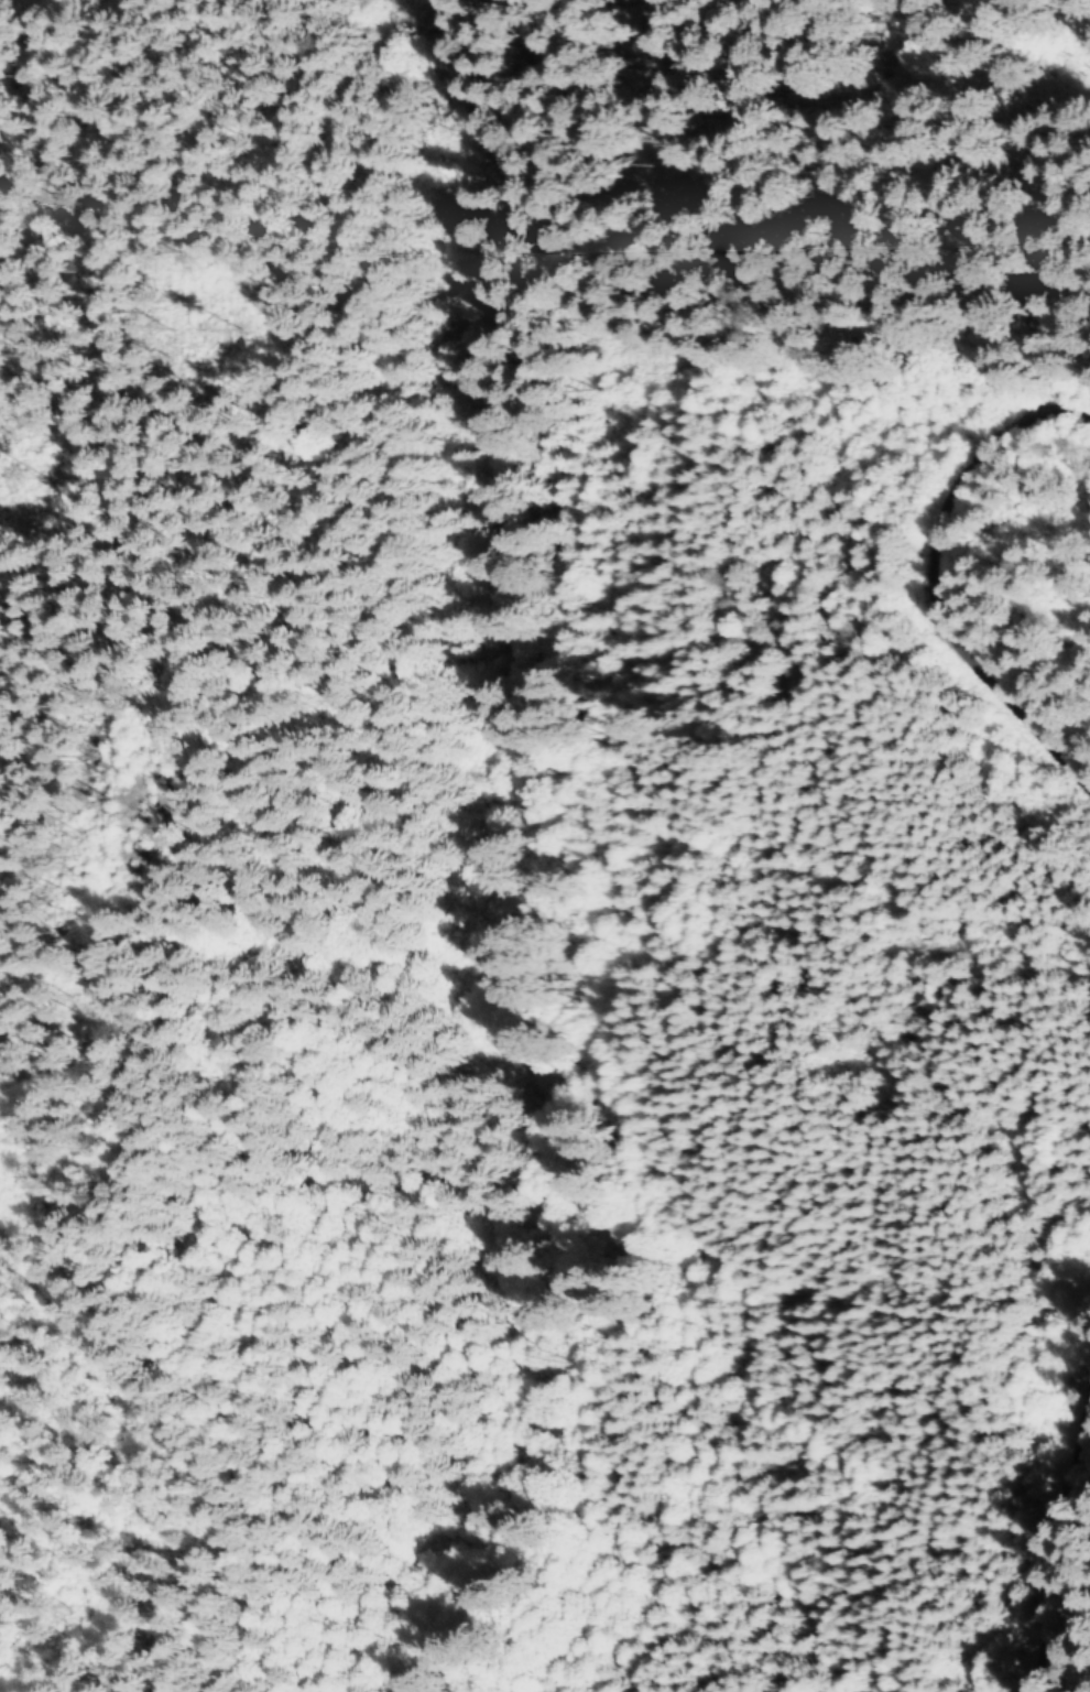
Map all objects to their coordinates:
road: (838, 680)

